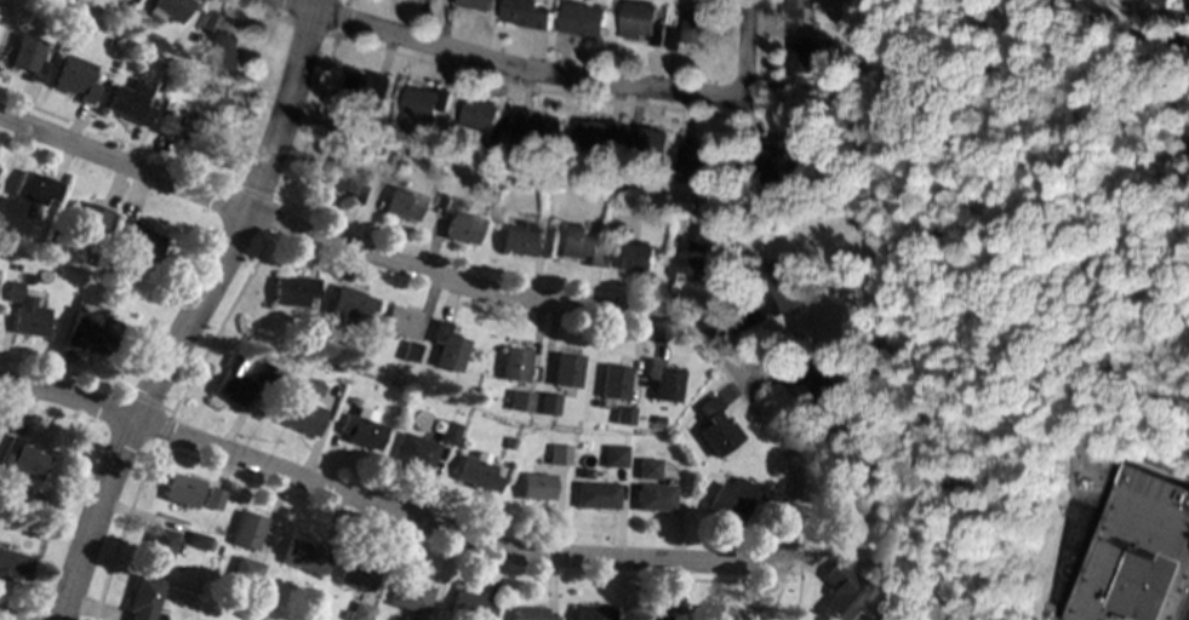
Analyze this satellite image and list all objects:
building: (1165, 2)
building: (479, 4)
building: (798, 7)
building: (167, 8)
building: (530, 13)
road: (338, 16)
building: (587, 18)
road: (1178, 18)
building: (645, 21)
road: (1125, 21)
road: (307, 25)
building: (694, 29)
road: (328, 33)
building: (218, 42)
road: (925, 42)
building: (173, 44)
building: (834, 44)
road: (749, 51)
building: (805, 56)
building: (27, 57)
building: (159, 62)
road: (508, 68)
building: (73, 77)
road: (825, 82)
building: (206, 86)
building: (365, 87)
building: (425, 99)
building: (130, 103)
building: (486, 119)
road: (309, 120)
building: (183, 125)
building: (539, 128)
building: (598, 134)
building: (650, 140)
building: (798, 140)
building: (395, 157)
building: (698, 160)
building: (771, 171)
building: (343, 178)
building: (34, 186)
road: (250, 194)
building: (399, 202)
road: (731, 212)
building: (82, 219)
road: (273, 220)
building: (456, 222)
park: (1023, 236)
building: (520, 239)
building: (577, 242)
building: (137, 243)
road: (354, 246)
building: (635, 257)
building: (691, 258)
road: (491, 274)
building: (783, 281)
building: (62, 288)
building: (291, 291)
building: (345, 308)
road: (189, 310)
building: (24, 311)
building: (398, 321)
road: (217, 325)
building: (88, 331)
building: (444, 346)
building: (406, 351)
building: (509, 364)
road: (64, 371)
building: (561, 371)
building: (262, 374)
building: (229, 381)
building: (608, 381)
building: (658, 381)
building: (308, 387)
building: (824, 390)
building: (515, 401)
road: (148, 402)
building: (542, 403)
building: (298, 415)
building: (618, 417)
building: (711, 429)
road: (159, 431)
building: (359, 431)
road: (774, 437)
building: (441, 442)
building: (508, 442)
building: (413, 452)
building: (558, 454)
building: (613, 457)
building: (21, 459)
building: (646, 469)
building: (475, 472)
building: (1, 483)
building: (535, 487)
building: (179, 489)
building: (595, 495)
building: (210, 498)
building: (652, 498)
building: (727, 501)
building: (850, 509)
road: (379, 510)
park: (1071, 519)
building: (244, 529)
building: (194, 540)
building: (156, 545)
building: (219, 550)
building: (1137, 553)
building: (302, 557)
building: (12, 564)
building: (242, 570)
building: (354, 574)
road: (799, 574)
building: (840, 592)
building: (406, 595)
building: (141, 597)
building: (468, 605)
building: (651, 610)
building: (354, 612)
building: (590, 612)
building: (528, 613)
building: (732, 614)
road: (5, 618)
building: (419, 619)

